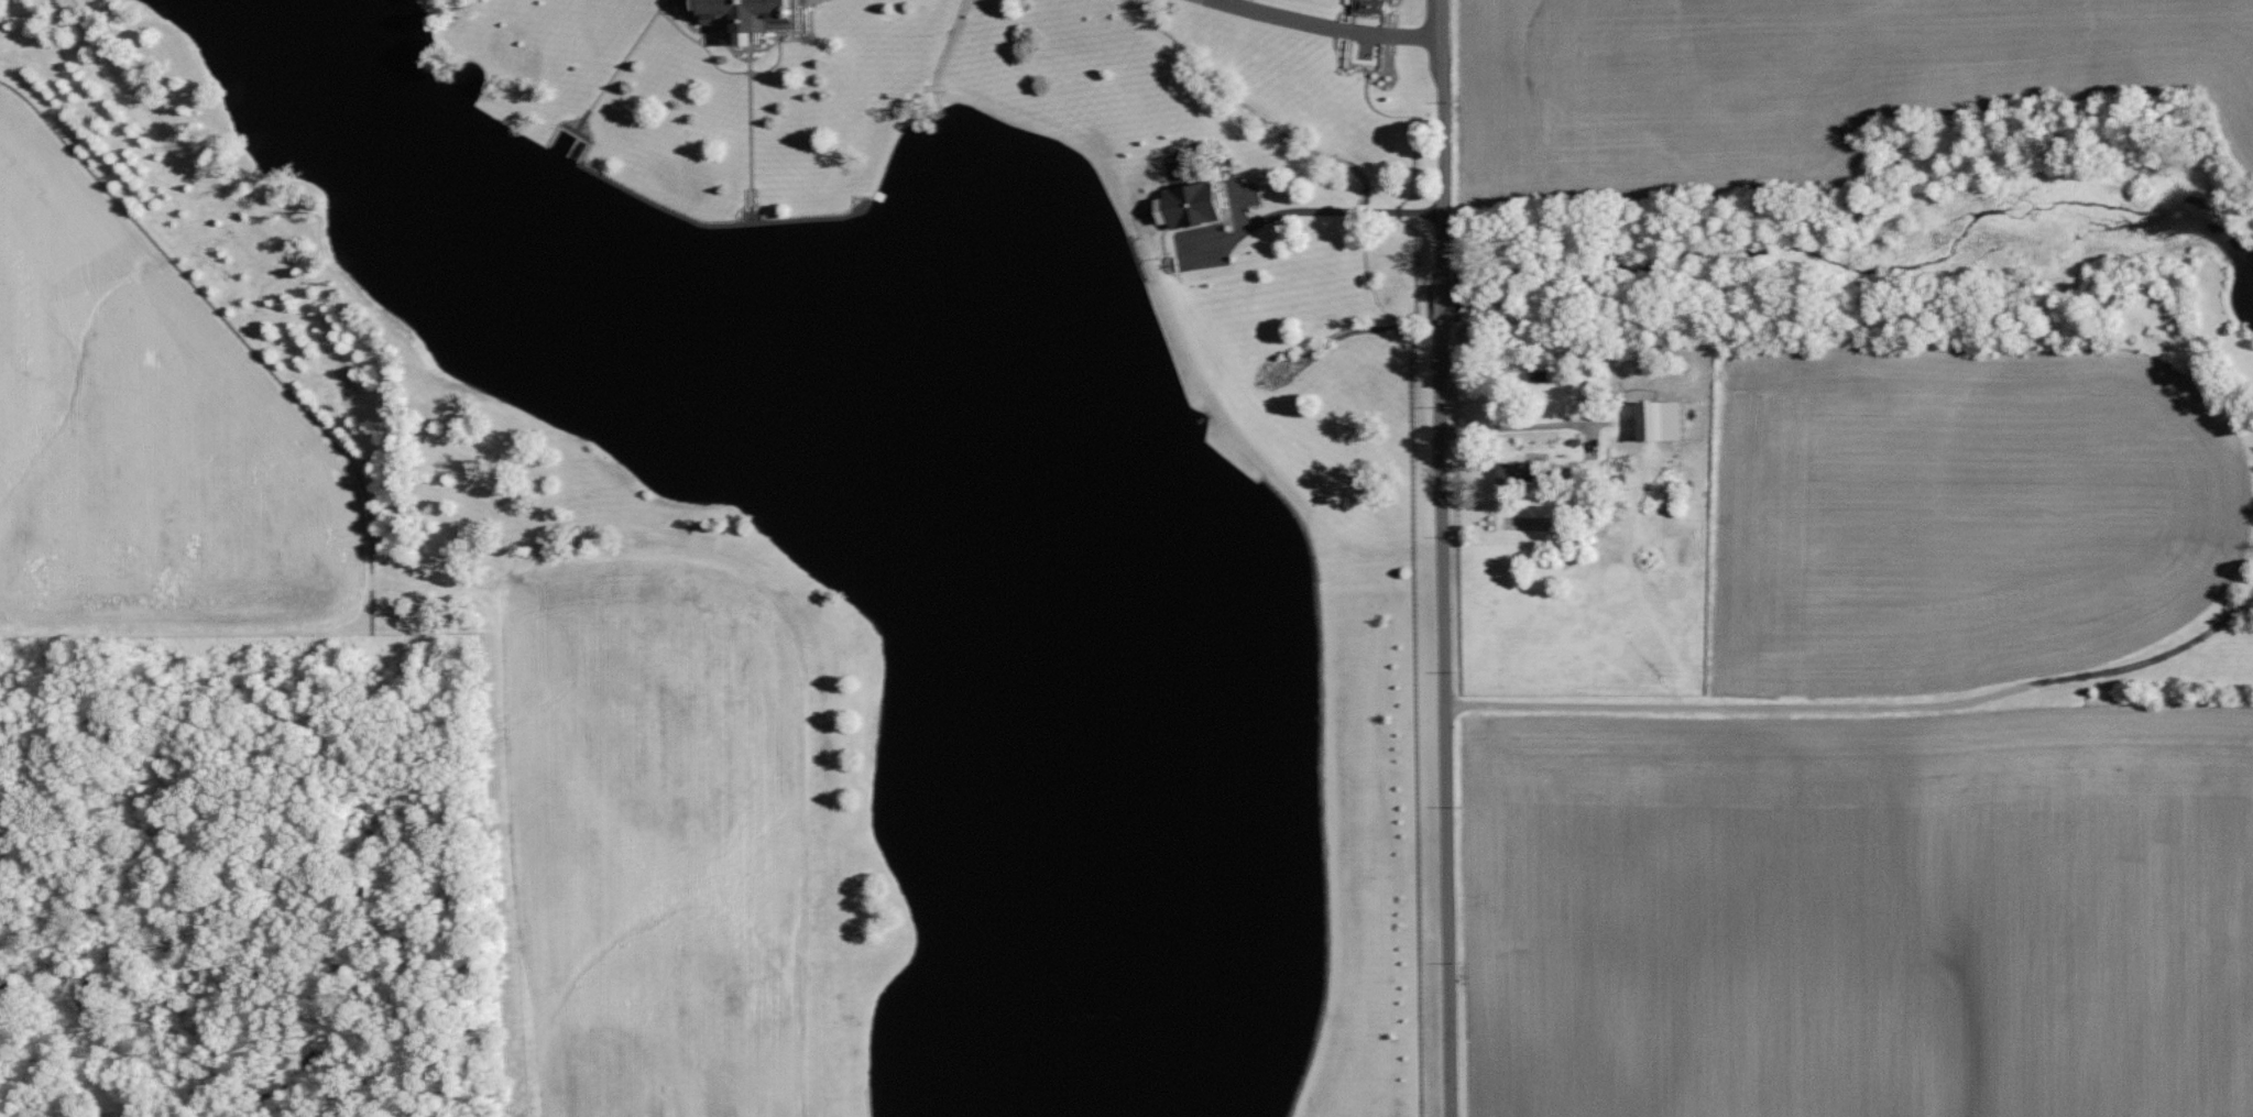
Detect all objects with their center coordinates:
building: (1367, 6)
building: (757, 17)
road: (1332, 22)
building: (1181, 202)
road: (1311, 209)
building: (1655, 418)
road: (1513, 425)
building: (1510, 471)
road: (1442, 558)
road: (1863, 700)

